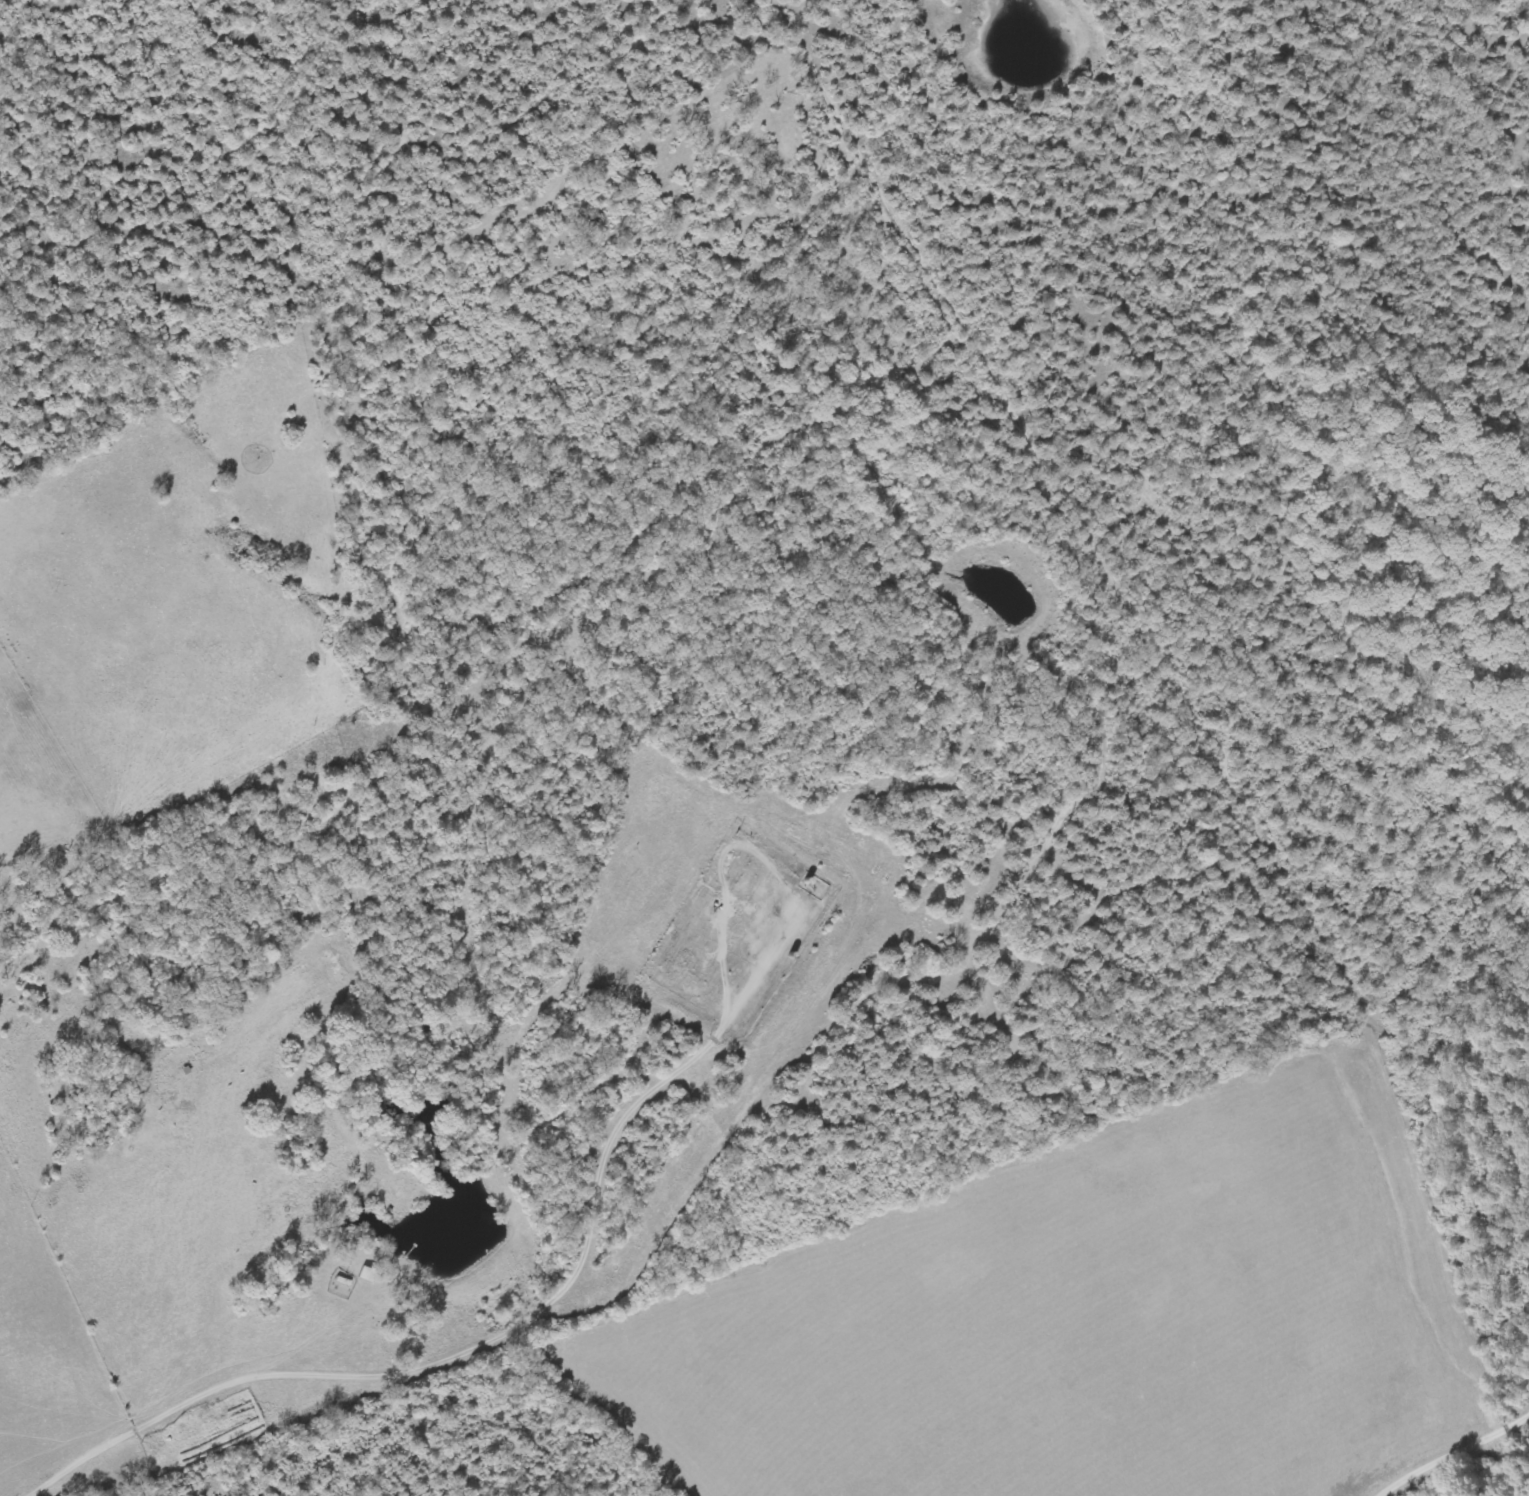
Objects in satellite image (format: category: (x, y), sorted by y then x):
silo: (808, 883)
road: (785, 898)
petroleum well: (712, 913)
road: (450, 1357)
road: (1452, 1454)

